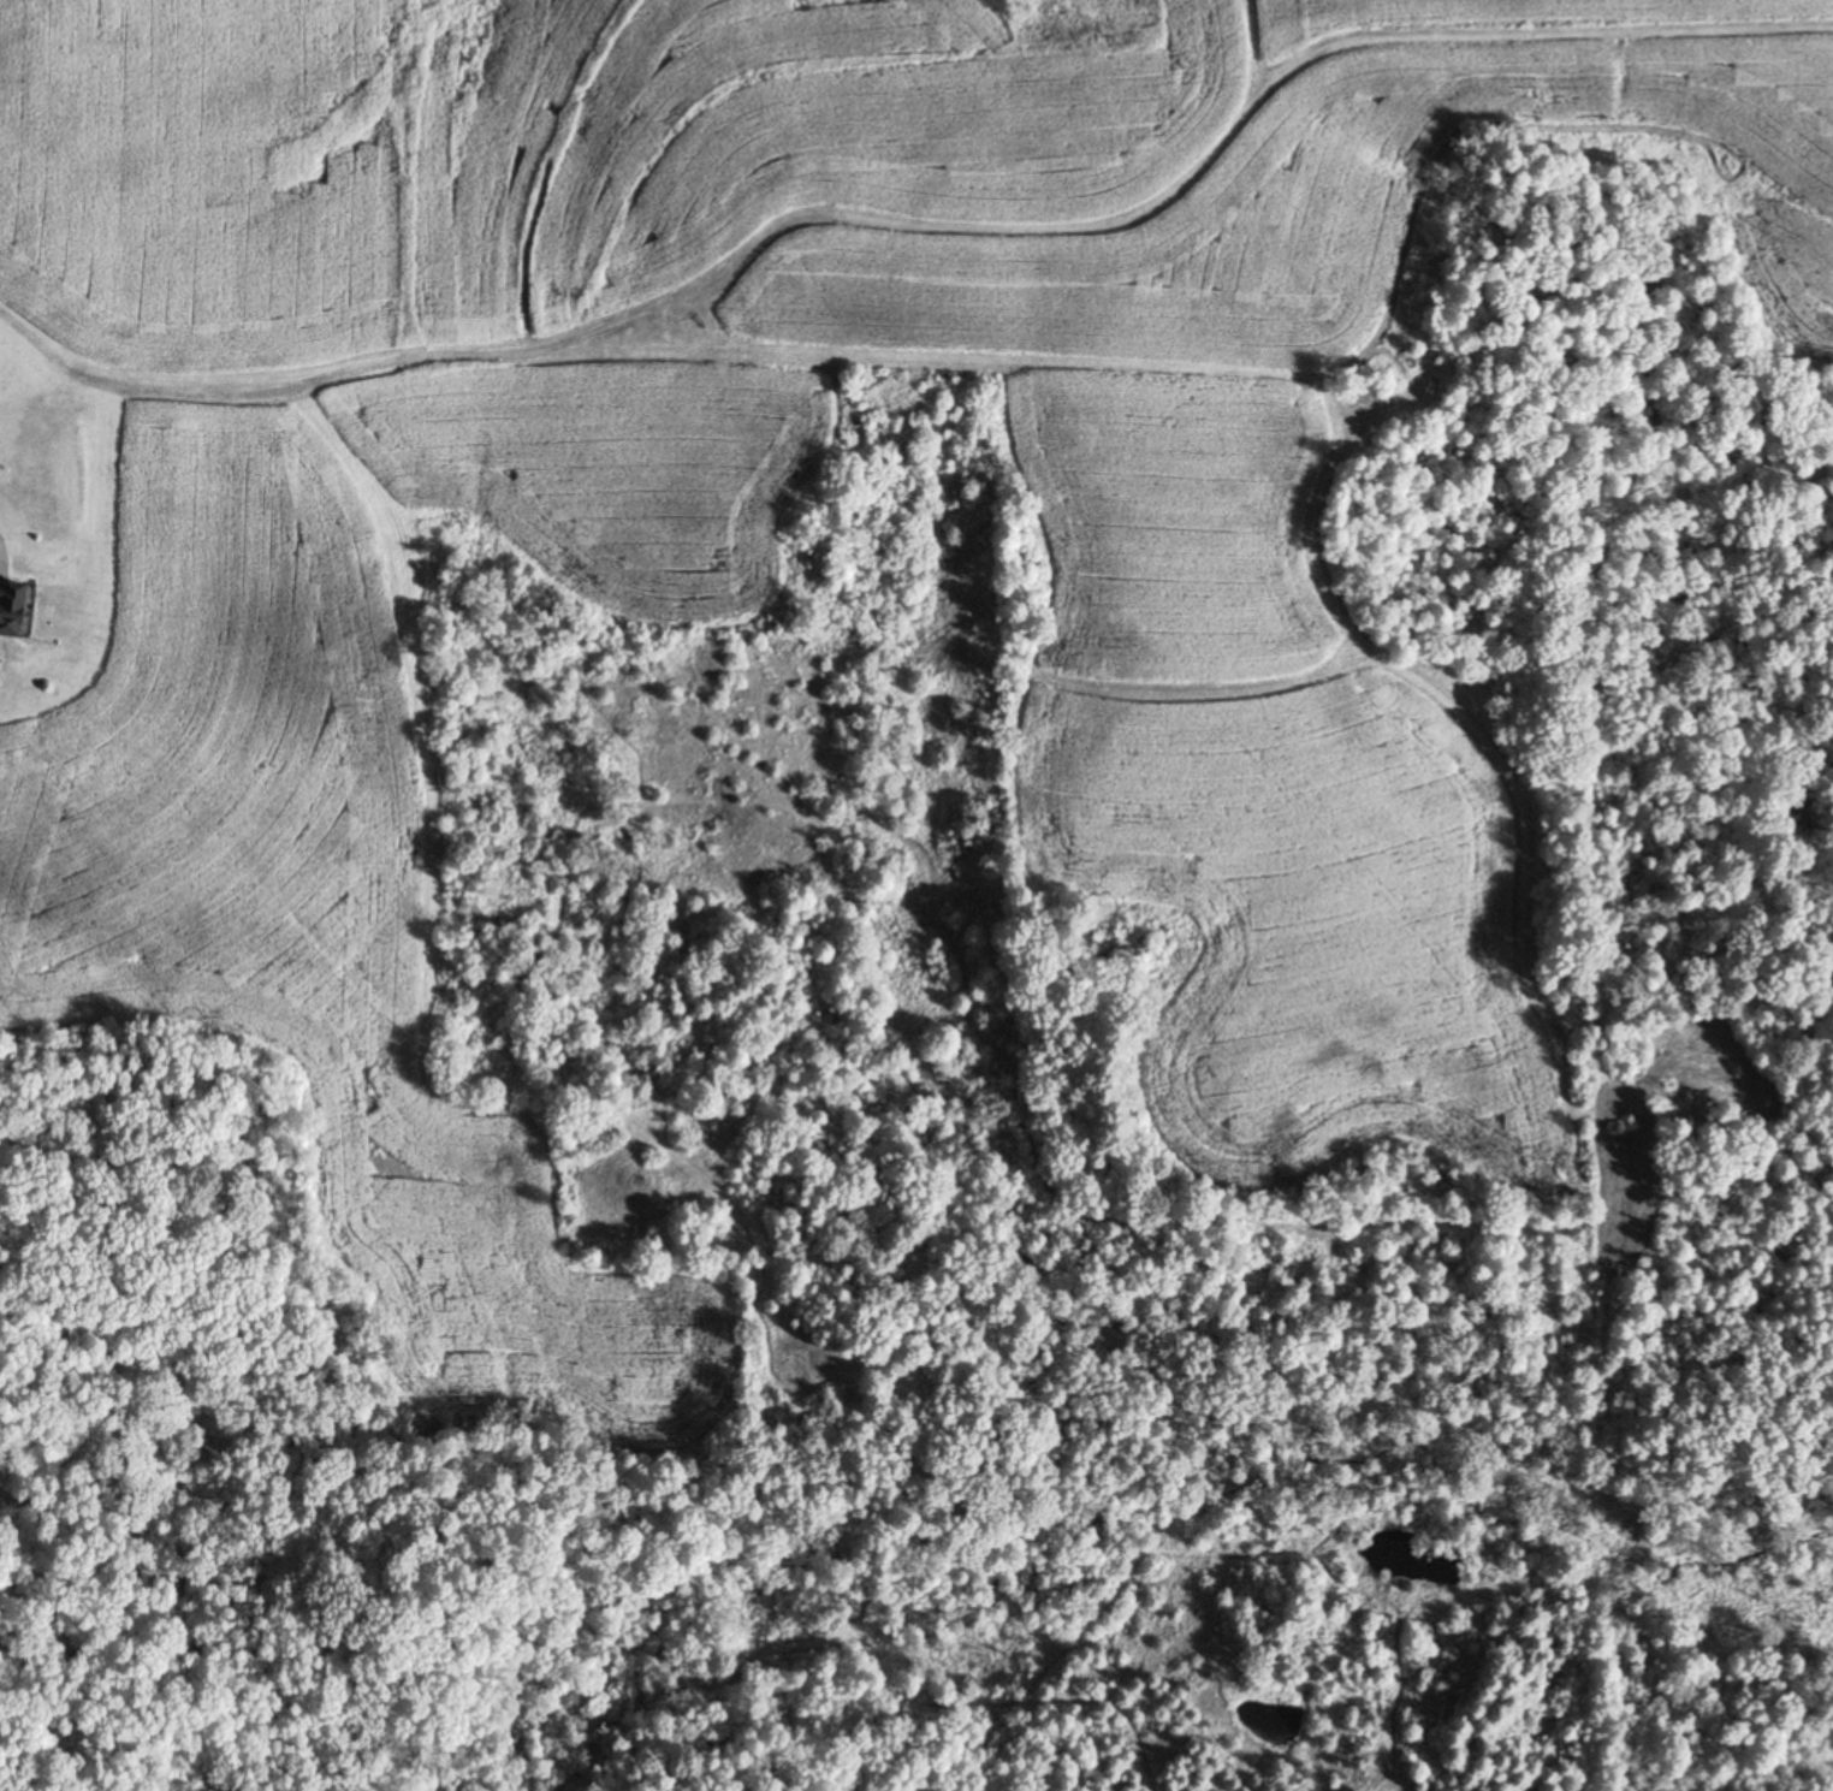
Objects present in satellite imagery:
building: (16, 607)

